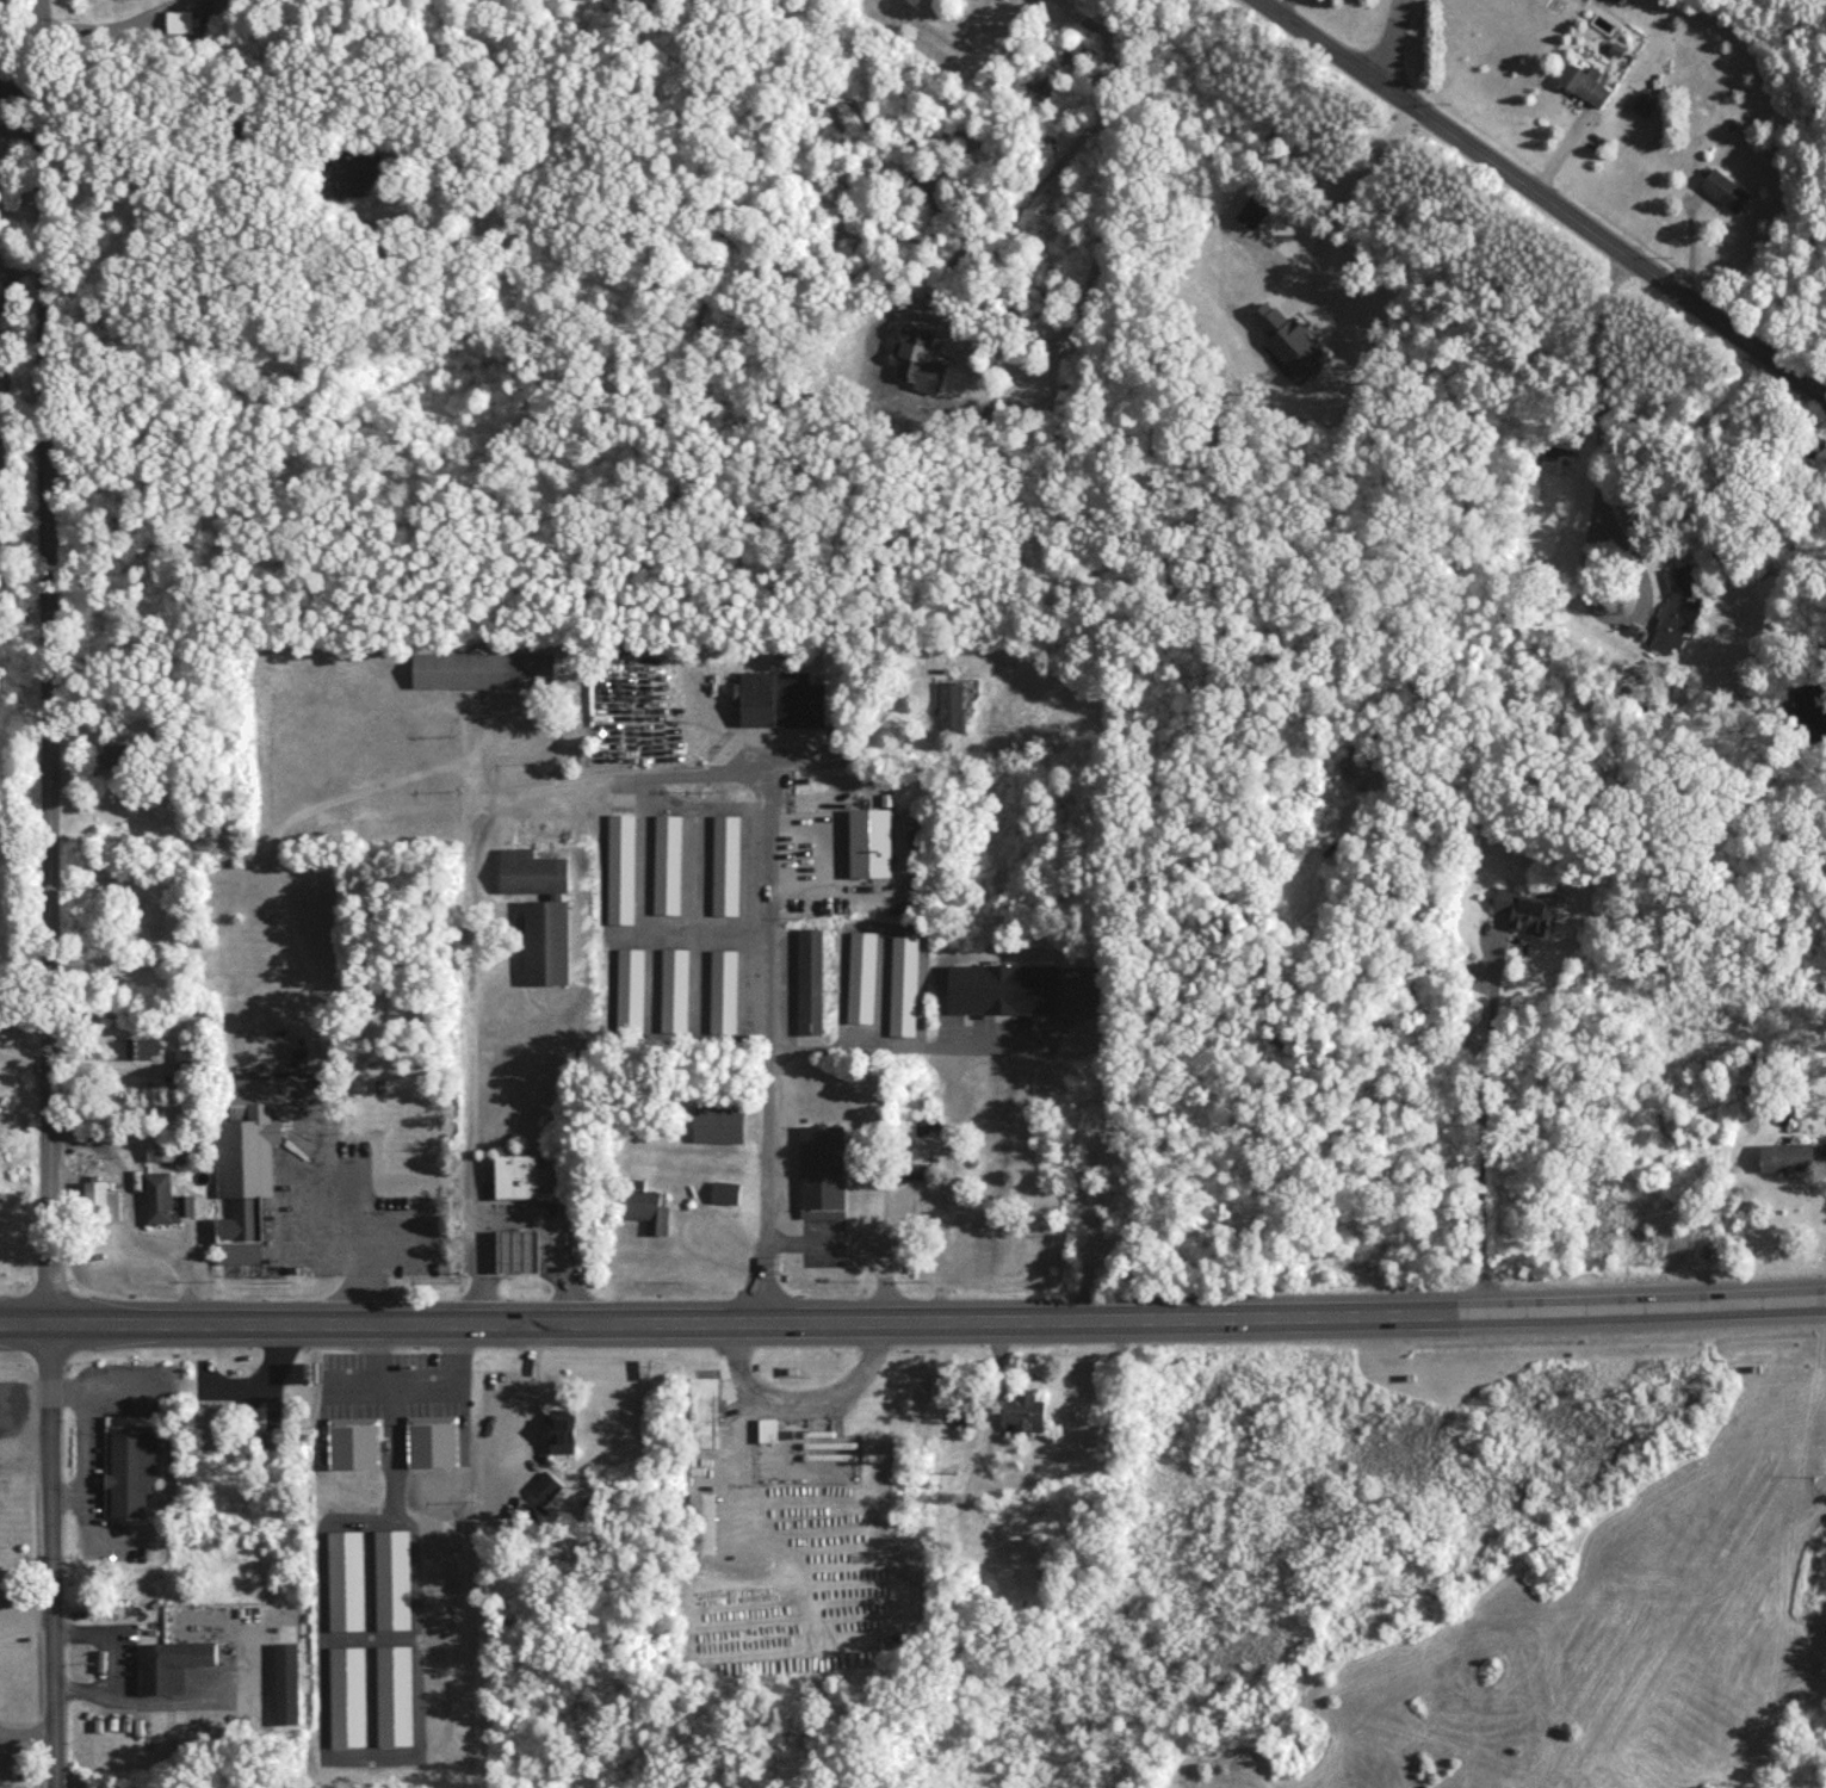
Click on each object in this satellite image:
building: (129, 2)
building: (179, 29)
road: (1391, 38)
road: (24, 85)
building: (1584, 91)
building: (357, 175)
road: (1323, 196)
building: (1723, 198)
road: (1545, 199)
road: (1605, 514)
building: (1676, 617)
building: (478, 668)
building: (776, 694)
building: (946, 703)
building: (868, 840)
building: (661, 862)
building: (720, 862)
building: (613, 864)
road: (54, 893)
building: (1523, 907)
building: (540, 909)
road: (464, 917)
building: (858, 973)
building: (807, 978)
building: (900, 984)
building: (1019, 986)
building: (669, 989)
building: (623, 990)
building: (719, 991)
road: (868, 1038)
building: (131, 1044)
building: (137, 1056)
building: (182, 1062)
road: (772, 1063)
road: (1483, 1113)
building: (717, 1121)
building: (929, 1134)
building: (171, 1146)
road: (948, 1147)
building: (253, 1149)
building: (1785, 1155)
building: (819, 1168)
building: (921, 1169)
building: (1085, 1171)
building: (514, 1181)
building: (720, 1190)
building: (161, 1196)
building: (98, 1200)
building: (644, 1207)
road: (128, 1223)
road: (401, 1232)
road: (553, 1236)
road: (859, 1250)
road: (359, 1251)
building: (514, 1256)
road: (912, 1326)
road: (125, 1394)
road: (519, 1394)
road: (799, 1398)
building: (702, 1410)
building: (216, 1411)
building: (961, 1413)
building: (1022, 1413)
building: (767, 1428)
building: (561, 1434)
building: (501, 1436)
building: (431, 1444)
building: (351, 1446)
road: (87, 1447)
building: (128, 1461)
building: (543, 1485)
building: (704, 1521)
building: (1819, 1574)
building: (389, 1576)
building: (342, 1579)
road: (27, 1614)
road: (107, 1657)
building: (171, 1663)
building: (287, 1681)
building: (346, 1694)
building: (392, 1694)
road: (27, 1731)
road: (1, 1740)
road: (29, 1747)

